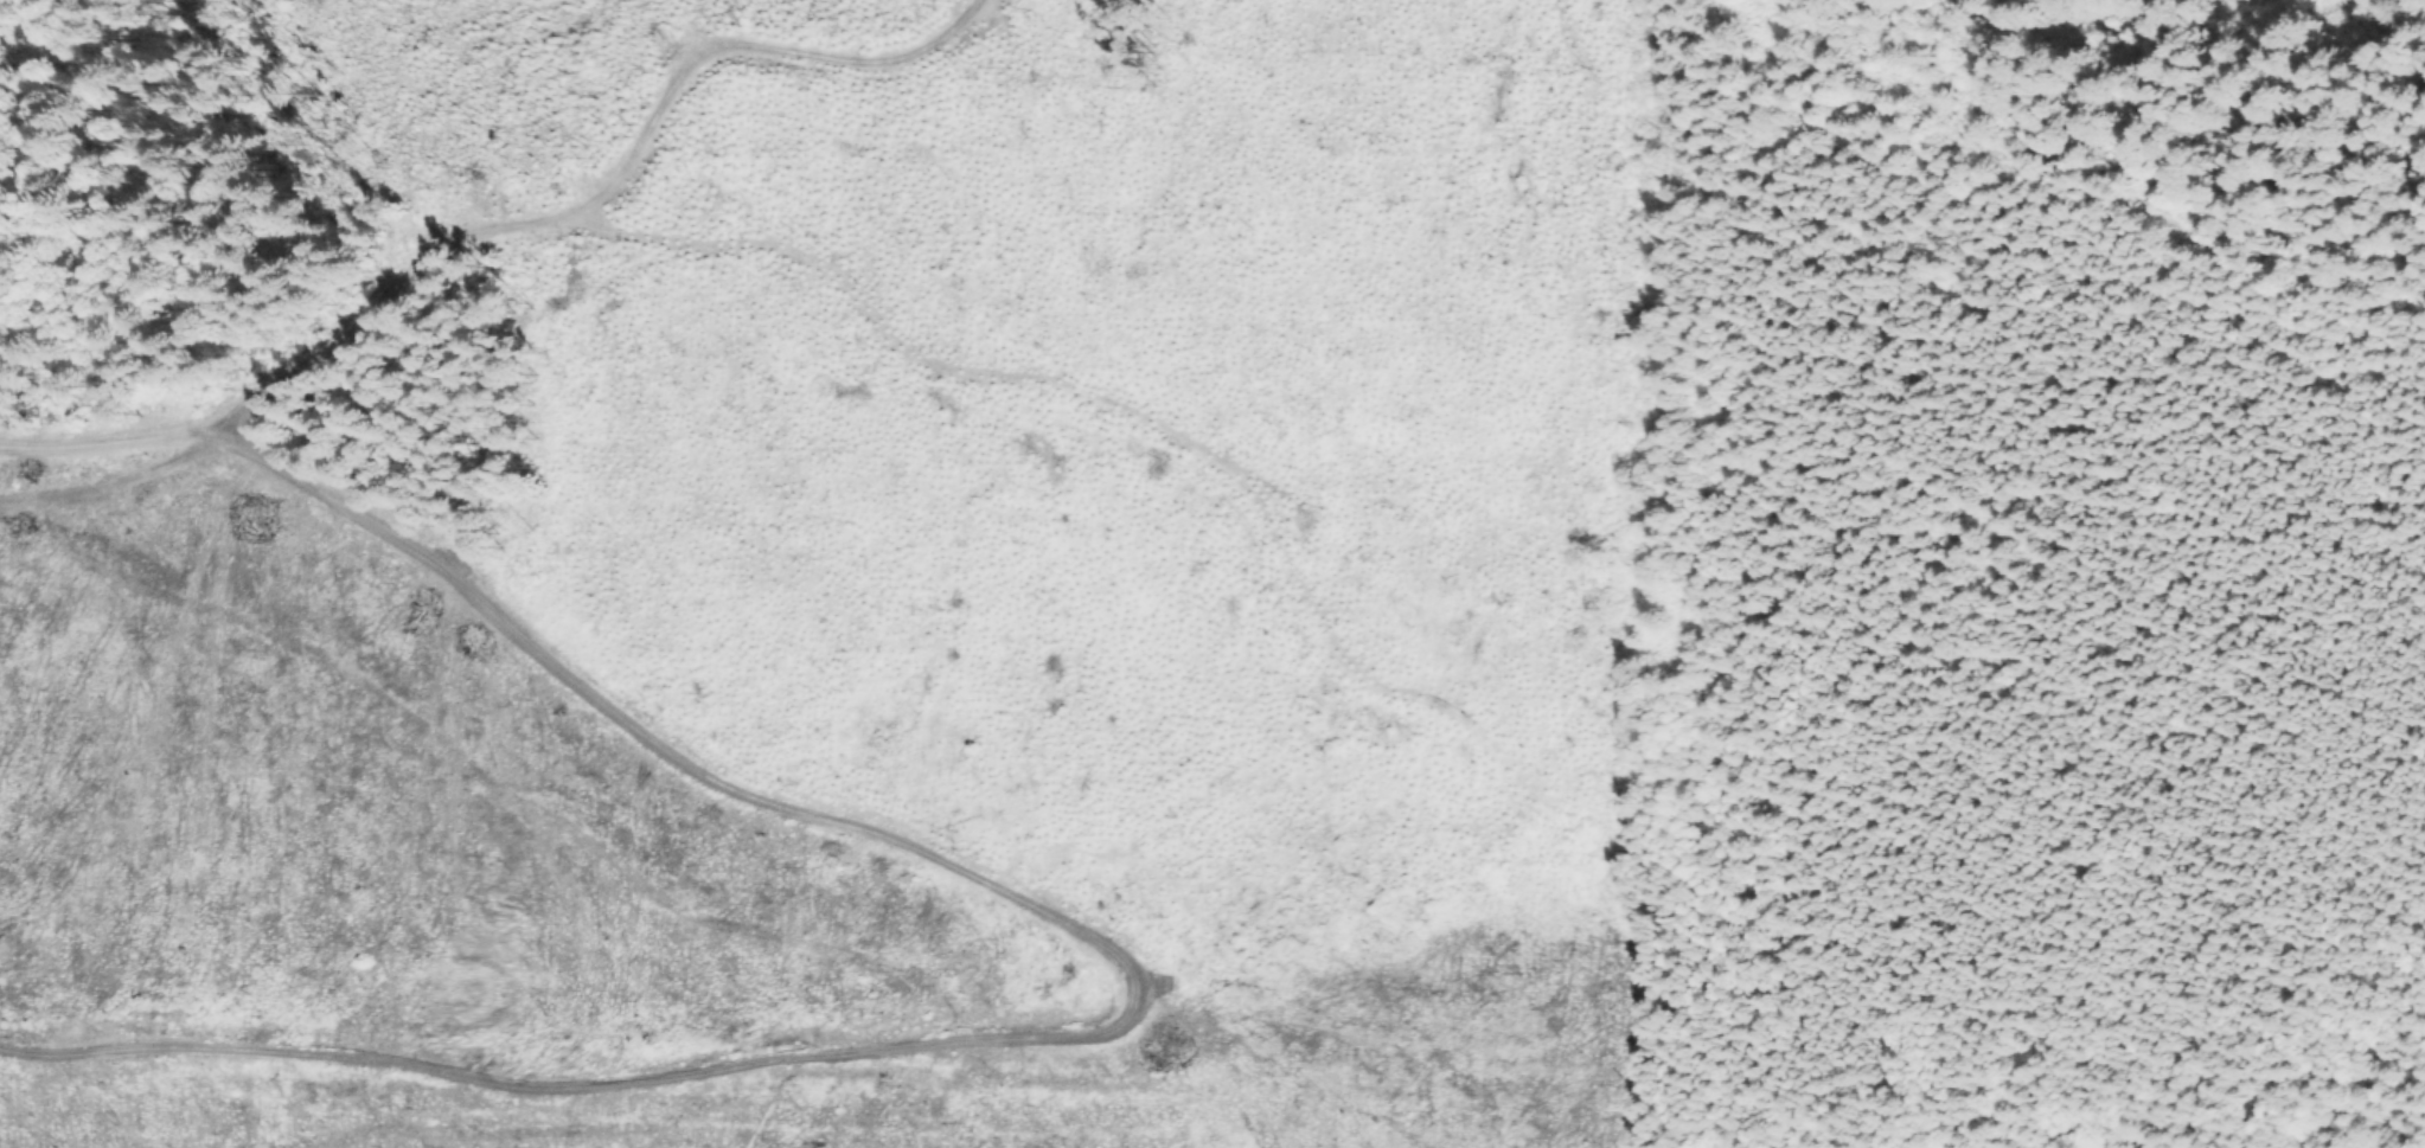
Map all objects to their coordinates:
road: (119, 431)
road: (776, 806)

